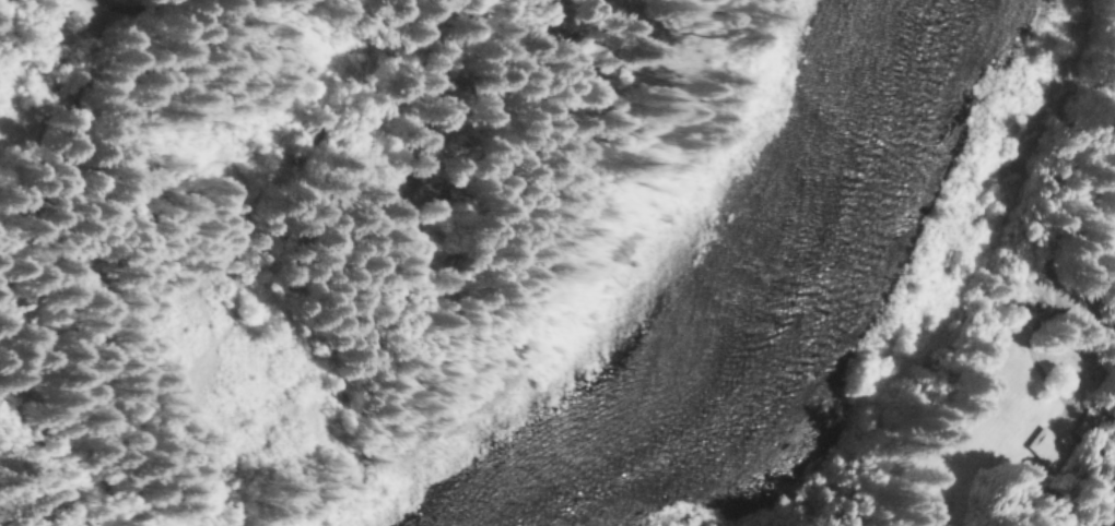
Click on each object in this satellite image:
road: (117, 5)
river: (763, 291)
building: (1047, 451)

